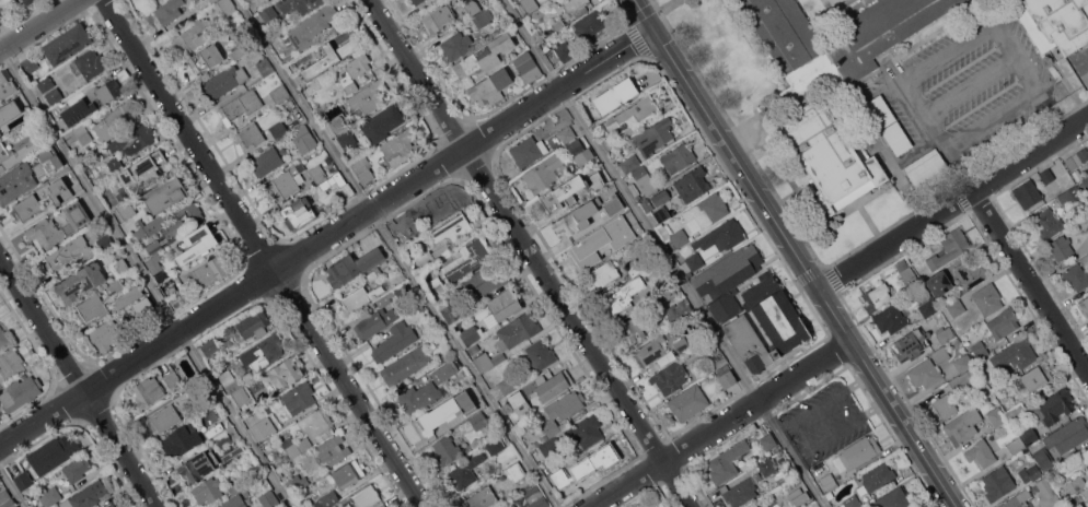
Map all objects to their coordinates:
building: (21, 0)
building: (212, 0)
building: (464, 0)
building: (28, 1)
building: (150, 1)
building: (261, 2)
building: (419, 4)
building: (529, 4)
building: (298, 5)
building: (224, 7)
building: (473, 7)
building: (569, 7)
building: (167, 10)
building: (268, 12)
building: (5, 13)
building: (438, 16)
building: (482, 17)
building: (1054, 22)
road: (39, 24)
building: (558, 24)
building: (589, 24)
building: (533, 25)
building: (311, 26)
traffic signals: (655, 30)
building: (267, 32)
building: (194, 35)
building: (67, 44)
building: (455, 45)
building: (240, 48)
building: (563, 51)
road: (948, 52)
building: (484, 56)
building: (206, 57)
building: (328, 57)
building: (91, 62)
building: (30, 64)
building: (265, 66)
building: (354, 67)
building: (528, 67)
road: (1032, 76)
building: (227, 80)
building: (45, 83)
building: (833, 84)
road: (970, 84)
building: (5, 86)
building: (349, 87)
building: (490, 87)
building: (280, 93)
building: (103, 94)
building: (54, 95)
building: (369, 96)
building: (616, 96)
building: (72, 104)
building: (240, 106)
building: (880, 110)
building: (9, 111)
building: (635, 111)
road: (994, 119)
building: (115, 121)
building: (11, 123)
building: (337, 123)
building: (382, 123)
building: (279, 129)
building: (628, 131)
building: (303, 133)
building: (566, 133)
building: (79, 134)
road: (937, 135)
building: (250, 137)
building: (653, 137)
building: (896, 138)
building: (134, 139)
building: (347, 139)
building: (610, 141)
building: (1087, 143)
building: (401, 146)
building: (528, 151)
building: (16, 152)
building: (580, 152)
road: (1030, 154)
building: (678, 157)
building: (50, 158)
building: (1077, 158)
building: (266, 161)
building: (115, 164)
building: (1, 167)
building: (362, 168)
building: (927, 169)
building: (143, 170)
building: (317, 173)
building: (544, 174)
building: (639, 174)
building: (1046, 175)
building: (95, 180)
building: (332, 180)
building: (16, 181)
building: (1086, 182)
building: (286, 184)
building: (685, 186)
building: (566, 192)
building: (165, 193)
building: (1028, 193)
building: (1069, 197)
building: (42, 200)
building: (613, 204)
building: (647, 204)
building: (441, 207)
building: (127, 209)
building: (706, 212)
building: (298, 213)
building: (661, 213)
building: (577, 217)
building: (185, 219)
building: (620, 223)
building: (1049, 223)
building: (74, 224)
building: (153, 225)
building: (405, 233)
building: (721, 235)
building: (675, 236)
road: (327, 238)
building: (437, 240)
road: (895, 240)
building: (105, 241)
building: (197, 243)
building: (153, 247)
building: (1060, 247)
building: (949, 248)
building: (586, 251)
building: (69, 252)
road: (265, 252)
road: (533, 252)
road: (665, 253)
road: (797, 253)
road: (394, 255)
building: (466, 258)
building: (694, 261)
building: (154, 263)
building: (120, 266)
building: (351, 267)
building: (634, 269)
building: (211, 270)
building: (905, 270)
building: (970, 272)
building: (604, 273)
building: (374, 274)
building: (1076, 276)
road: (144, 278)
building: (485, 279)
building: (81, 281)
road: (1030, 282)
building: (939, 284)
building: (436, 285)
building: (171, 290)
building: (403, 292)
building: (624, 296)
building: (876, 296)
building: (359, 297)
building: (987, 298)
building: (99, 303)
building: (147, 303)
building: (118, 304)
building: (505, 304)
building: (926, 305)
building: (1084, 305)
building: (751, 307)
building: (678, 308)
building: (956, 308)
building: (452, 313)
building: (377, 318)
building: (890, 319)
building: (1004, 322)
building: (251, 326)
building: (517, 330)
building: (632, 331)
building: (104, 334)
building: (470, 334)
building: (946, 335)
building: (3, 337)
building: (394, 341)
building: (911, 344)
building: (682, 345)
building: (209, 346)
building: (474, 349)
building: (707, 350)
building: (980, 350)
building: (649, 351)
building: (264, 352)
building: (1016, 353)
building: (540, 354)
building: (940, 356)
building: (487, 361)
building: (717, 361)
building: (658, 362)
building: (10, 363)
building: (962, 363)
building: (406, 365)
building: (444, 372)
building: (285, 373)
building: (925, 374)
building: (727, 376)
building: (670, 377)
building: (1037, 377)
building: (963, 378)
building: (171, 379)
road: (80, 380)
building: (229, 380)
building: (507, 385)
building: (193, 386)
building: (546, 387)
building: (148, 391)
building: (20, 393)
building: (242, 394)
building: (421, 396)
building: (463, 396)
building: (991, 397)
building: (299, 398)
building: (688, 402)
building: (1056, 405)
building: (942, 408)
building: (1015, 409)
building: (563, 410)
building: (996, 416)
building: (164, 418)
building: (479, 421)
building: (433, 423)
building: (316, 424)
road: (722, 424)
building: (962, 425)
building: (262, 428)
building: (215, 429)
building: (586, 431)
building: (1029, 435)
building: (1067, 435)
building: (228, 436)
building: (543, 437)
building: (182, 439)
building: (768, 441)
building: (296, 445)
building: (1016, 445)
building: (495, 446)
building: (552, 447)
building: (333, 450)
building: (447, 450)
building: (857, 452)
building: (53, 453)
building: (981, 453)
building: (603, 457)
building: (286, 458)
building: (1084, 458)
building: (1044, 459)
building: (727, 462)
building: (199, 465)
building: (767, 465)
building: (77, 468)
building: (465, 470)
building: (255, 471)
building: (517, 471)
building: (1034, 471)
building: (349, 473)
building: (876, 477)
building: (579, 480)
building: (23, 482)
building: (297, 483)
building: (998, 483)
building: (1076, 485)
road: (12, 486)
building: (236, 487)
building: (208, 490)
building: (741, 491)
building: (830, 491)
building: (1085, 492)
building: (1045, 494)
building: (4, 495)
building: (50, 496)
building: (85, 496)
building: (366, 496)
building: (798, 496)
building: (482, 497)
building: (535, 497)
building: (268, 498)
building: (894, 498)
building: (326, 499)
building: (1017, 499)
building: (1086, 500)
building: (236, 503)
building: (10, 504)
building: (811, 504)
building: (109, 505)
building: (752, 505)
building: (1078, 505)
building: (42, 506)
building: (112, 506)
building: (521, 506)
building: (652, 506)

